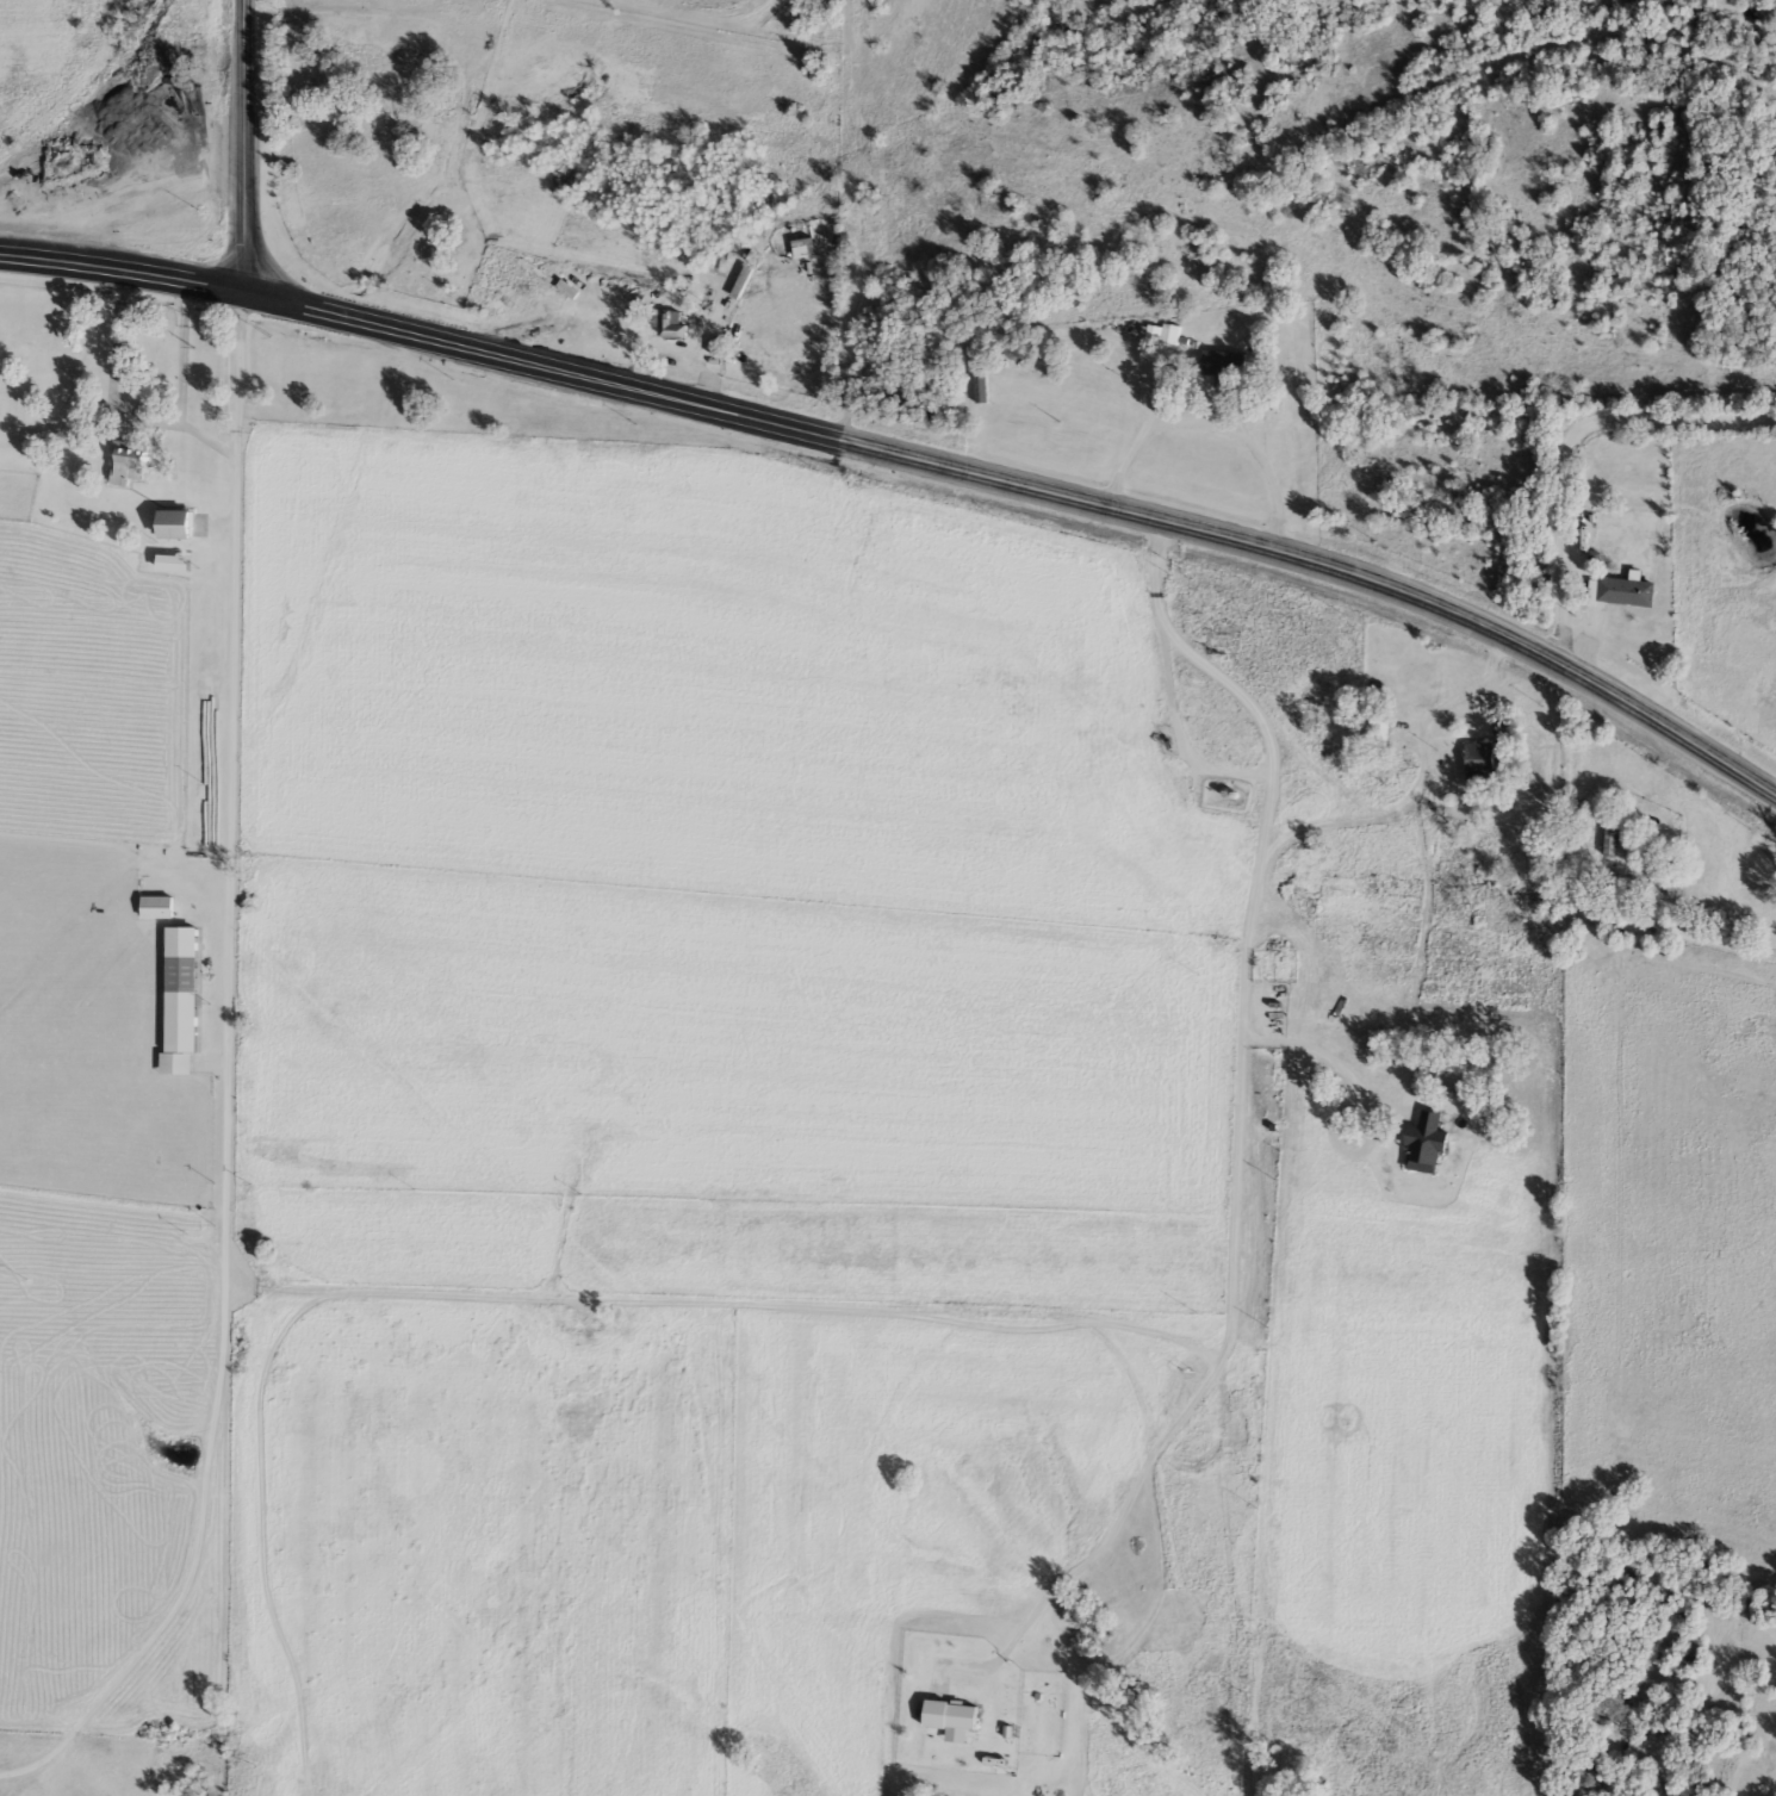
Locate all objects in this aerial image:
road: (246, 145)
building: (650, 203)
road: (120, 268)
building: (664, 318)
building: (1167, 331)
road: (1128, 341)
road: (186, 353)
building: (1222, 361)
building: (976, 384)
road: (116, 406)
road: (1221, 428)
building: (125, 460)
road: (1030, 486)
road: (1603, 499)
building: (1584, 516)
building: (172, 521)
building: (169, 561)
building: (1619, 589)
building: (1377, 732)
road: (1192, 739)
building: (1479, 758)
building: (1608, 835)
building: (178, 999)
road: (235, 1077)
road: (1248, 1098)

